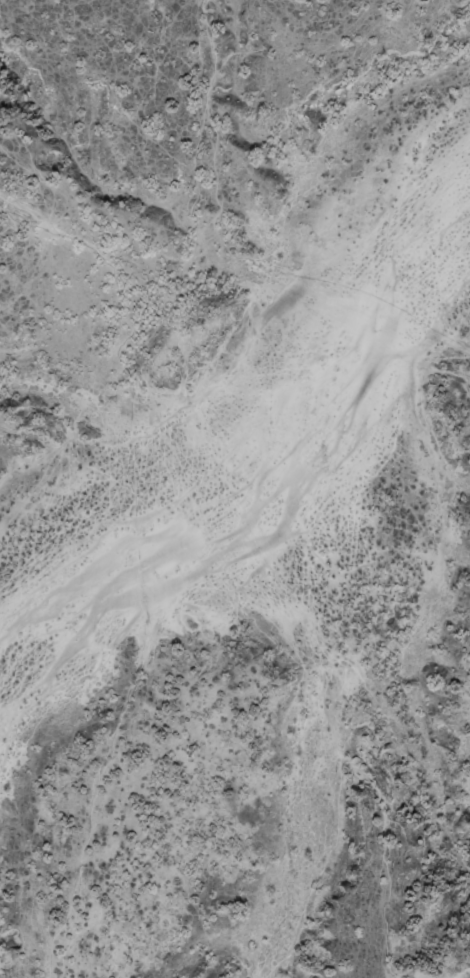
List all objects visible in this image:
road: (93, 335)

